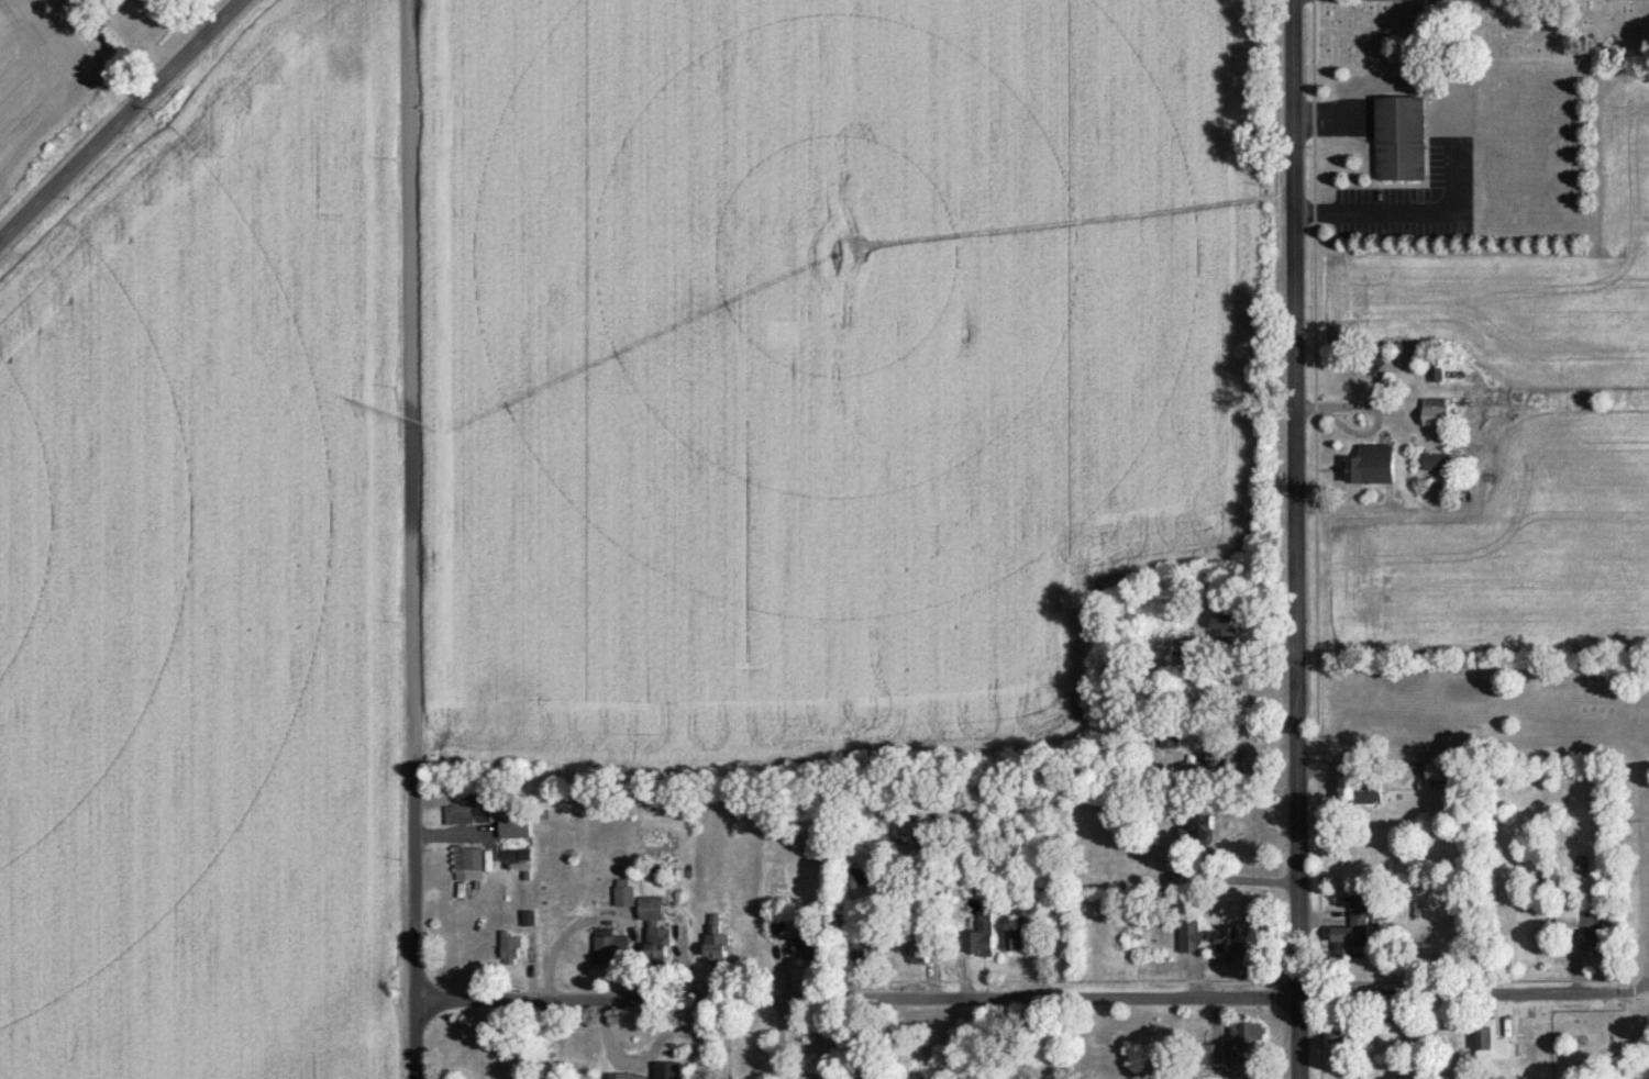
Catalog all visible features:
road: (1622, 0)
park: (1481, 30)
road: (117, 118)
building: (1398, 143)
building: (1434, 414)
building: (1434, 464)
building: (1370, 467)
road: (407, 538)
road: (1291, 538)
building: (1221, 632)
building: (1182, 658)
building: (1167, 738)
building: (1222, 760)
building: (1438, 775)
building: (1359, 792)
building: (468, 815)
building: (1196, 825)
building: (467, 866)
building: (852, 881)
building: (1037, 892)
building: (623, 894)
building: (1565, 927)
building: (1353, 928)
building: (654, 930)
building: (775, 931)
building: (1019, 935)
building: (1592, 936)
building: (980, 939)
building: (1209, 941)
building: (716, 944)
building: (917, 948)
building: (610, 950)
building: (806, 950)
building: (510, 952)
building: (865, 952)
road: (1458, 991)
road: (853, 994)
building: (1338, 1034)
building: (1246, 1036)
building: (1487, 1044)
building: (1210, 1060)
building: (542, 1063)

